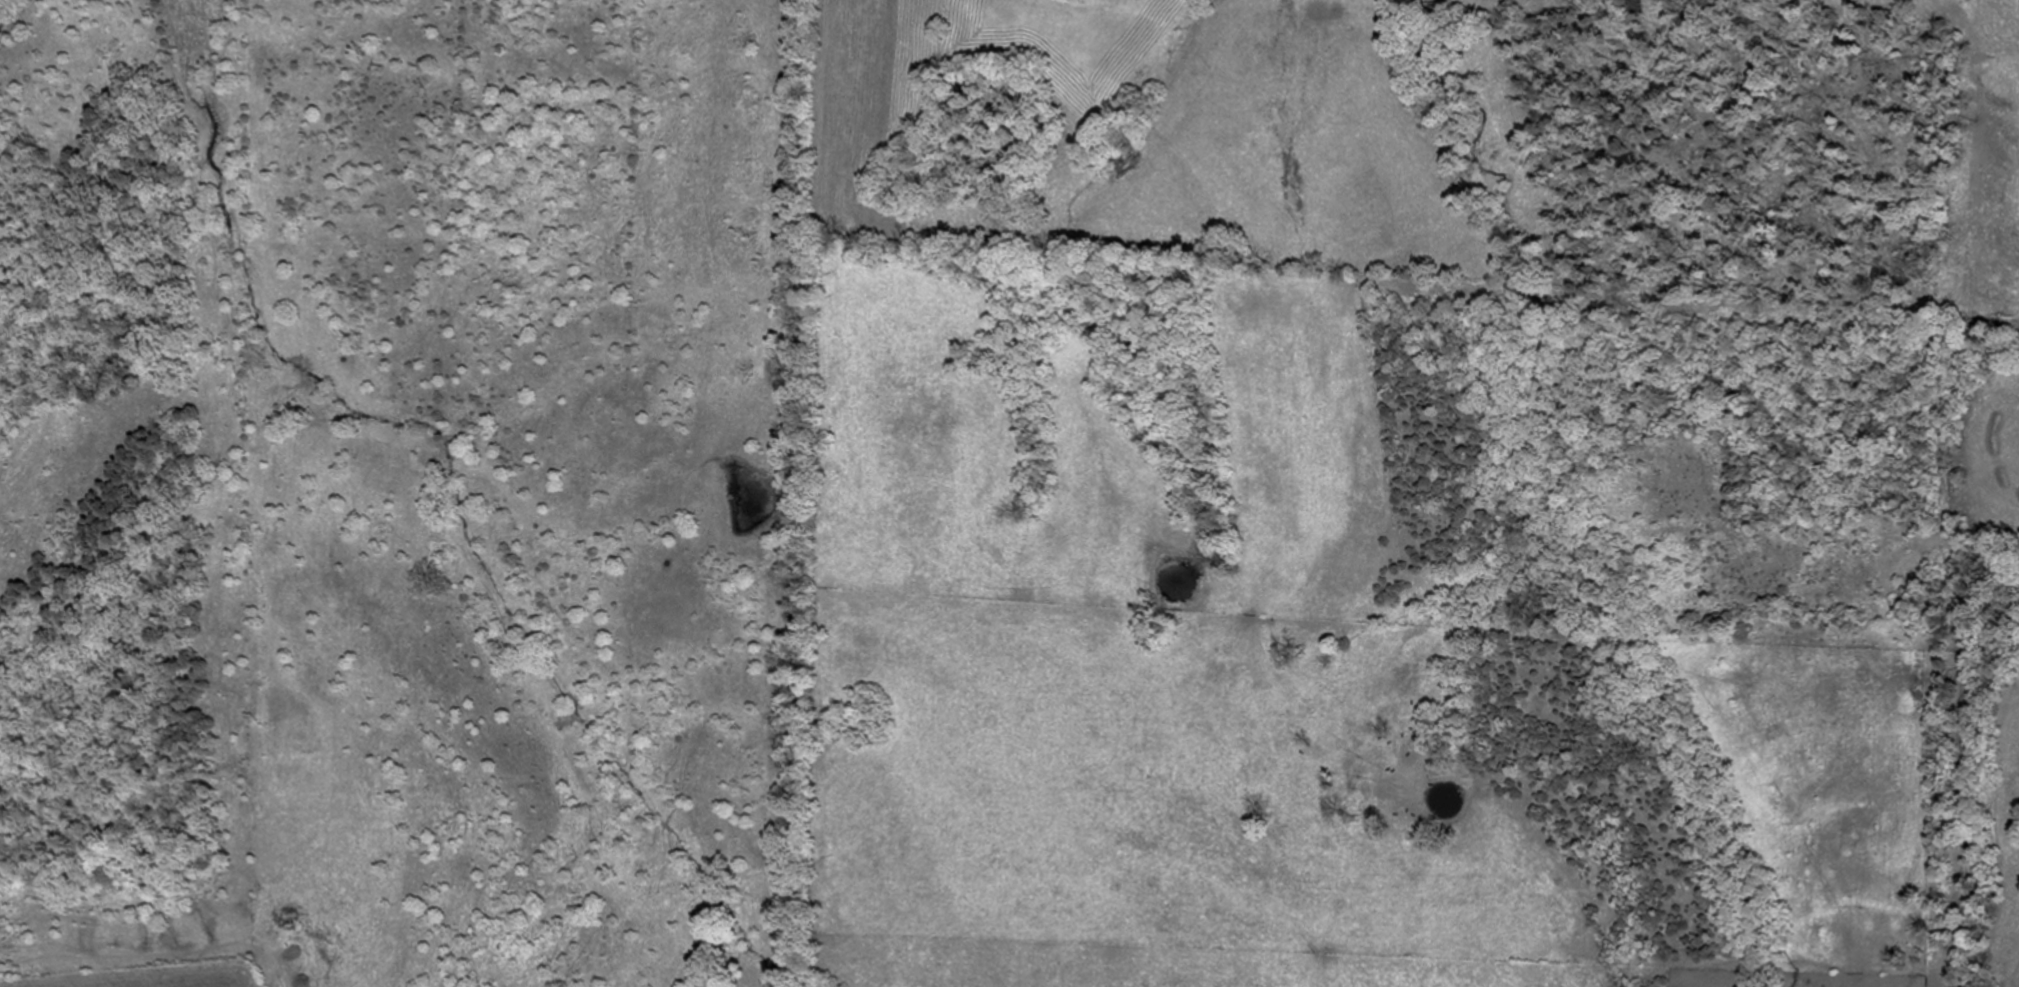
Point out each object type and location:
building: (1152, 845)
road: (1281, 923)

